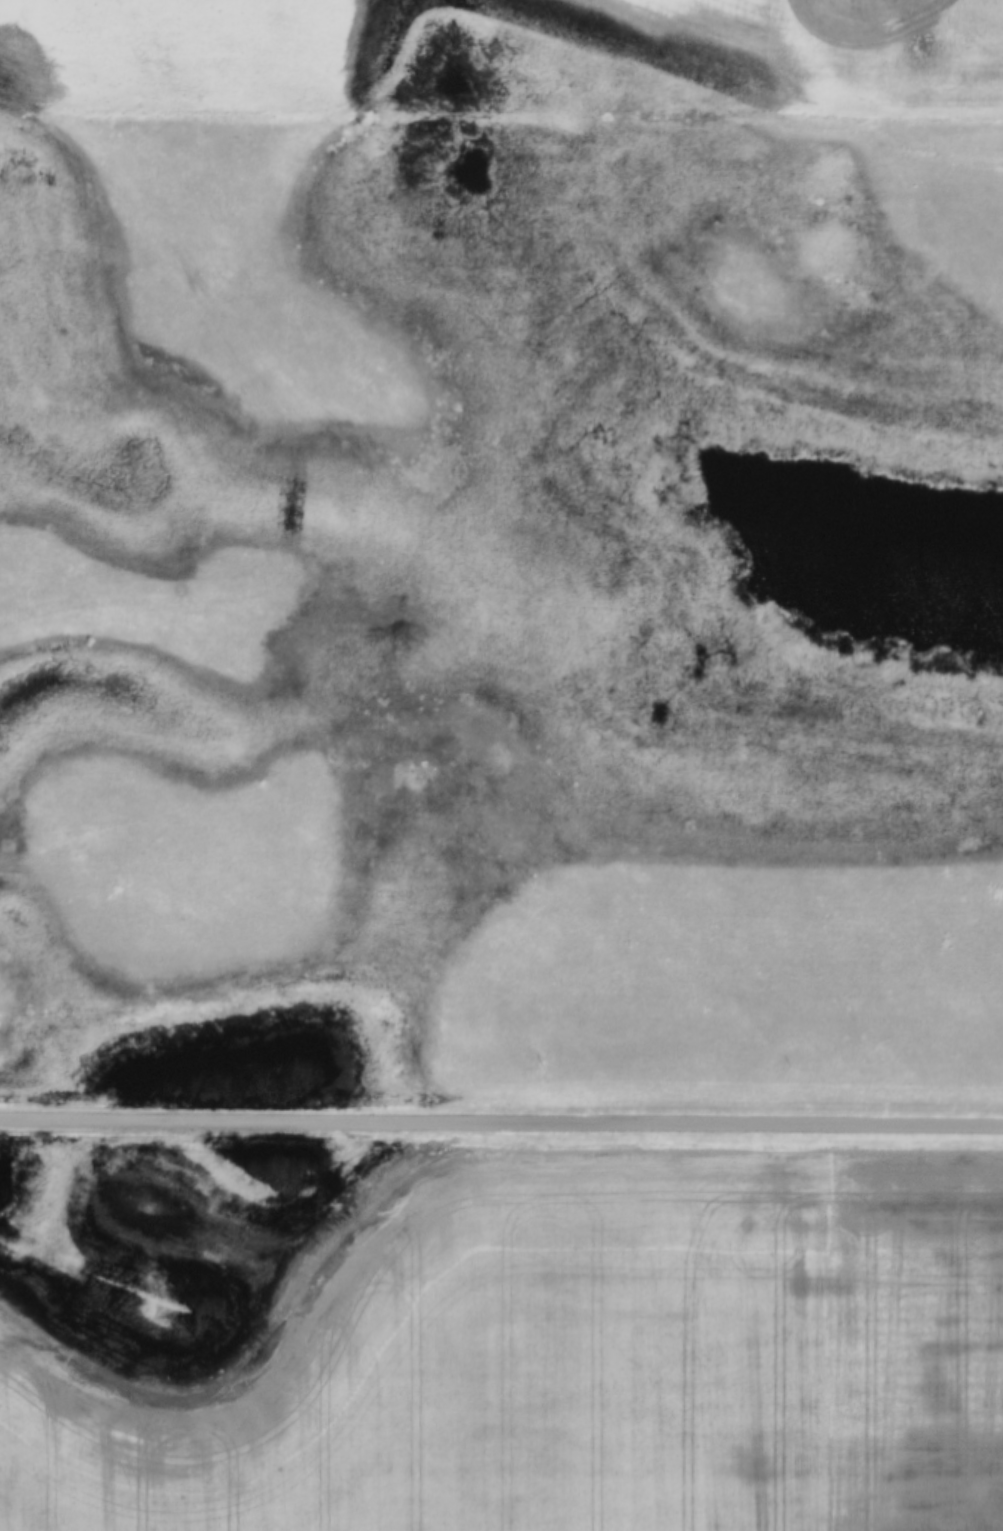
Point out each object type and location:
road: (501, 1125)

